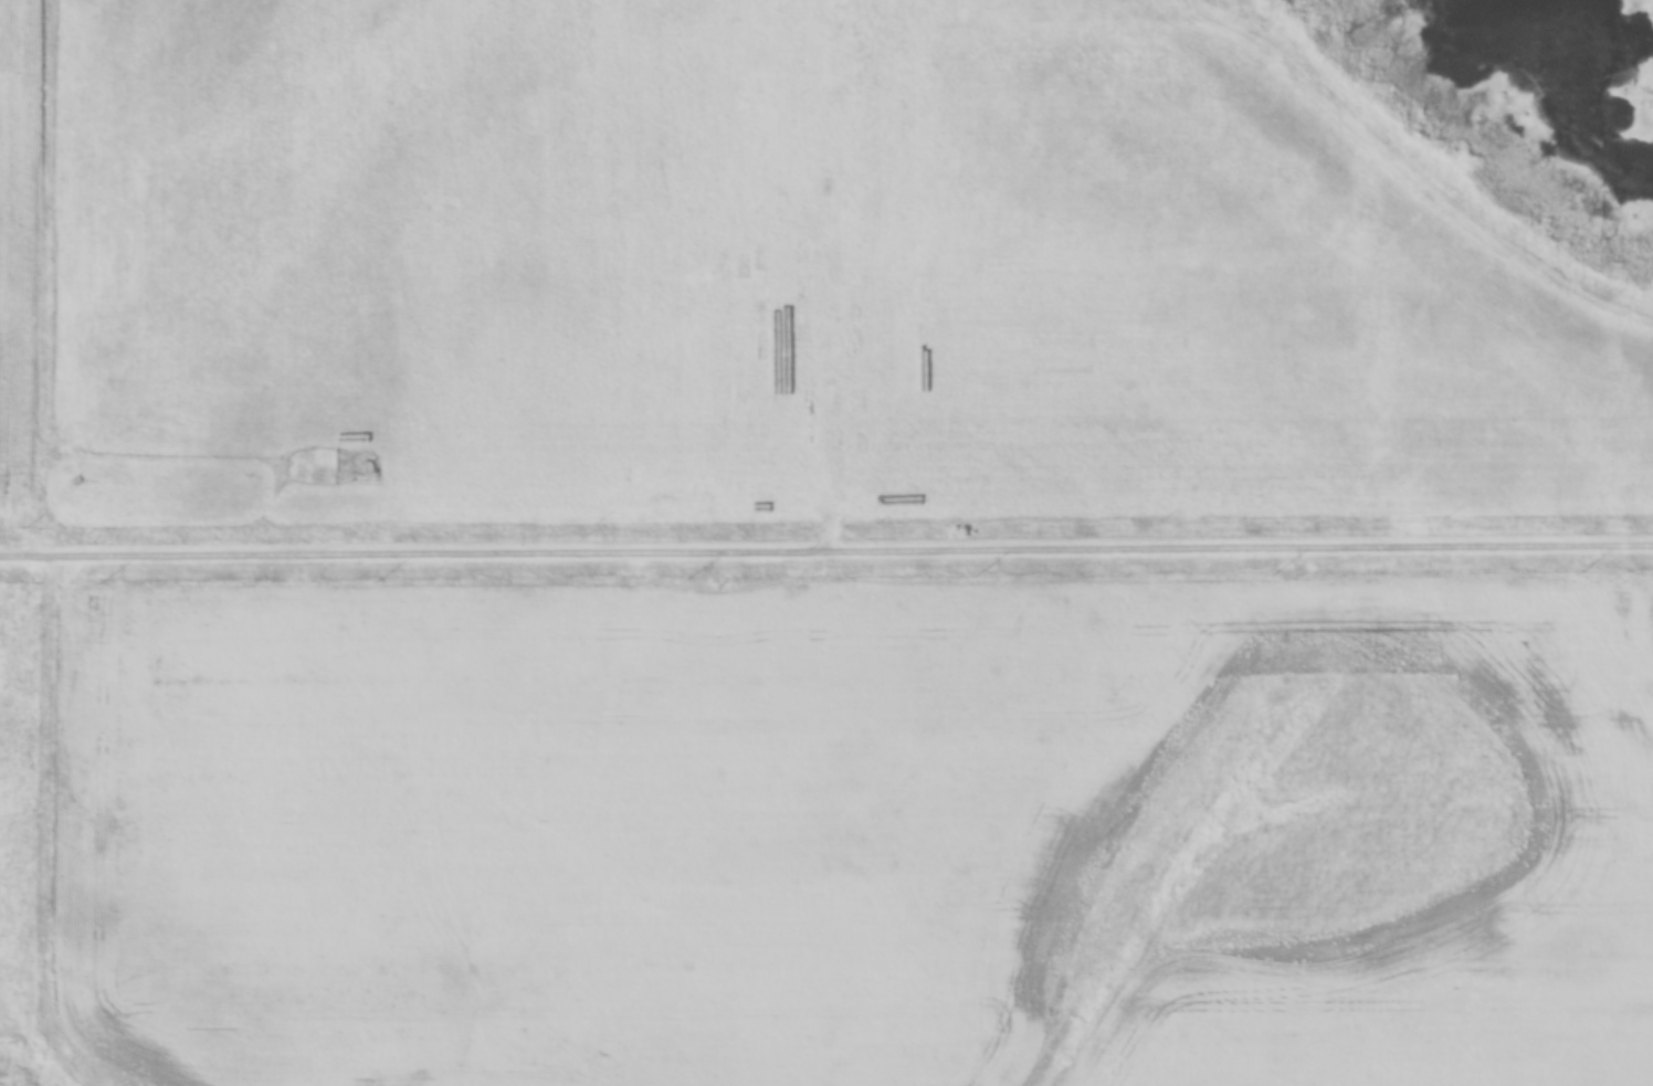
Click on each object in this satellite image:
road: (826, 552)

